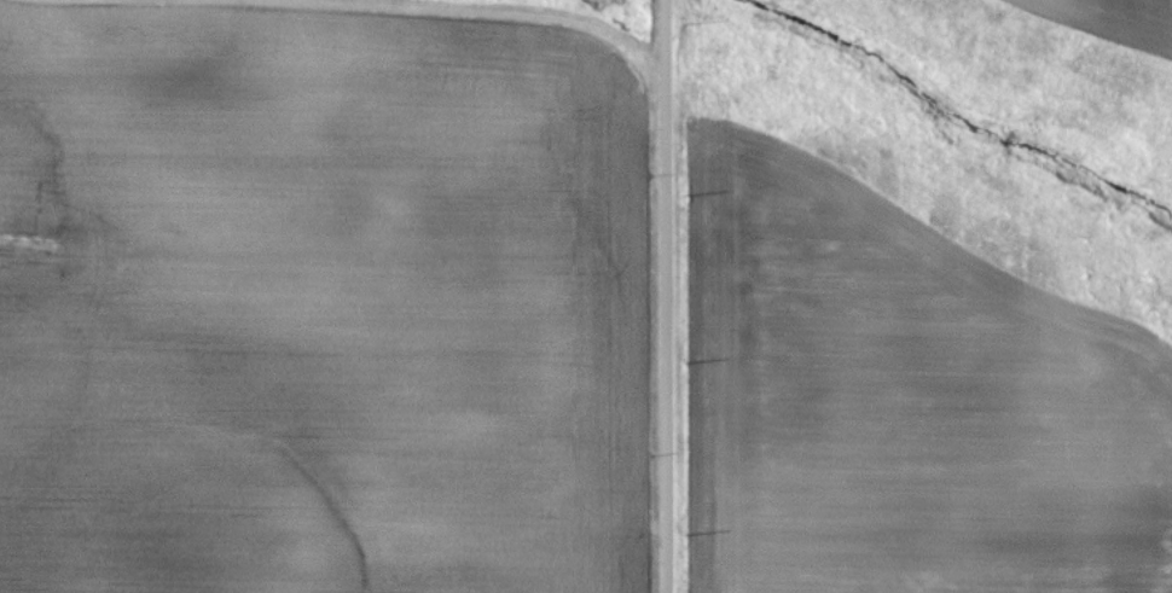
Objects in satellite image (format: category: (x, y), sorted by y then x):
road: (662, 296)

